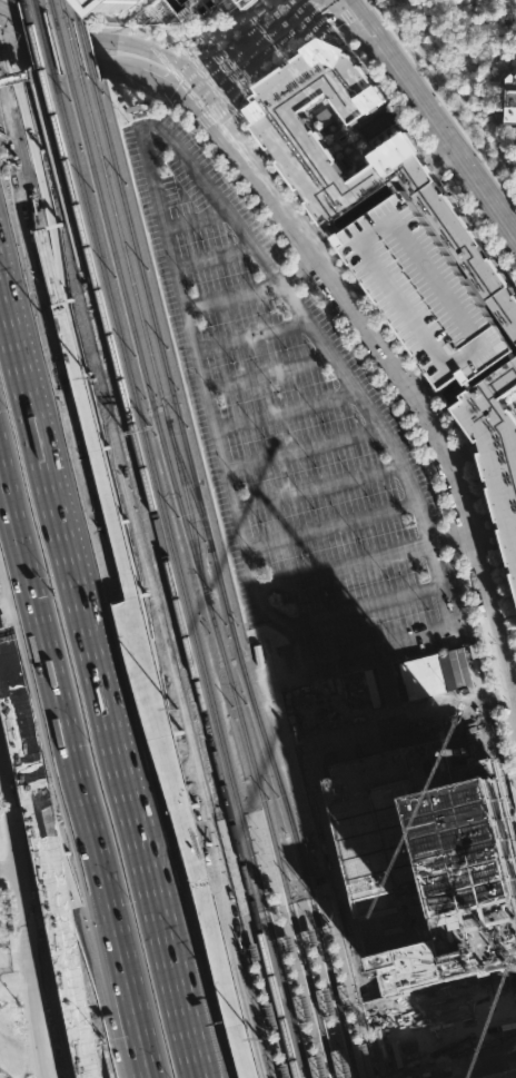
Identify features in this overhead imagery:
railway: (26, 1)
road: (289, 1)
building: (245, 2)
railway: (36, 3)
building: (119, 6)
railway: (51, 9)
railway: (62, 10)
railway: (75, 11)
road: (322, 12)
road: (349, 12)
road: (2, 27)
railway: (34, 37)
road: (101, 37)
road: (153, 37)
road: (256, 38)
traffic signals: (6, 40)
railway: (46, 40)
railway: (62, 47)
railway: (72, 48)
road: (272, 50)
railway: (86, 51)
road: (16, 56)
road: (278, 58)
road: (103, 65)
traffic signals: (201, 75)
road: (454, 83)
road: (193, 85)
road: (202, 87)
traffic signals: (186, 95)
traffic signals: (205, 100)
building: (510, 106)
road: (439, 107)
road: (212, 112)
road: (433, 120)
road: (27, 126)
road: (161, 133)
road: (426, 148)
building: (330, 202)
road: (192, 218)
railway: (123, 249)
road: (211, 255)
road: (32, 274)
building: (423, 290)
parking garage: (423, 290)
road: (254, 294)
road: (250, 336)
road: (403, 348)
road: (364, 358)
road: (268, 373)
road: (400, 376)
road: (421, 388)
road: (285, 409)
road: (93, 433)
parking lot: (294, 435)
power tower: (108, 441)
road: (301, 447)
building: (494, 453)
building: (333, 477)
railway: (189, 486)
road: (318, 487)
railway: (190, 513)
road: (331, 524)
road: (366, 560)
railway: (171, 574)
road: (115, 575)
railway: (181, 575)
railway: (200, 577)
railway: (219, 580)
road: (365, 605)
road: (138, 644)
road: (374, 644)
road: (6, 651)
road: (107, 667)
building: (426, 676)
road: (2, 753)
road: (514, 777)
road: (78, 779)
power tower: (200, 810)
railway: (256, 811)
railway: (222, 819)
building: (429, 860)
road: (10, 864)
road: (71, 869)
road: (52, 877)
road: (321, 896)
road: (321, 899)
railway: (322, 900)
road: (27, 903)
road: (300, 904)
railway: (302, 906)
road: (260, 912)
building: (327, 930)
building: (308, 934)
road: (219, 941)
building: (286, 941)
building: (255, 949)
road: (17, 958)
building: (344, 995)
building: (324, 999)
building: (302, 1006)
building: (270, 1013)
building: (363, 1059)
building: (340, 1062)
road: (351, 1062)
building: (317, 1066)
road: (330, 1068)
road: (477, 1068)
building: (285, 1069)
building: (498, 1074)
parking garage: (498, 1074)
road: (301, 1076)
building: (106, 1077)

